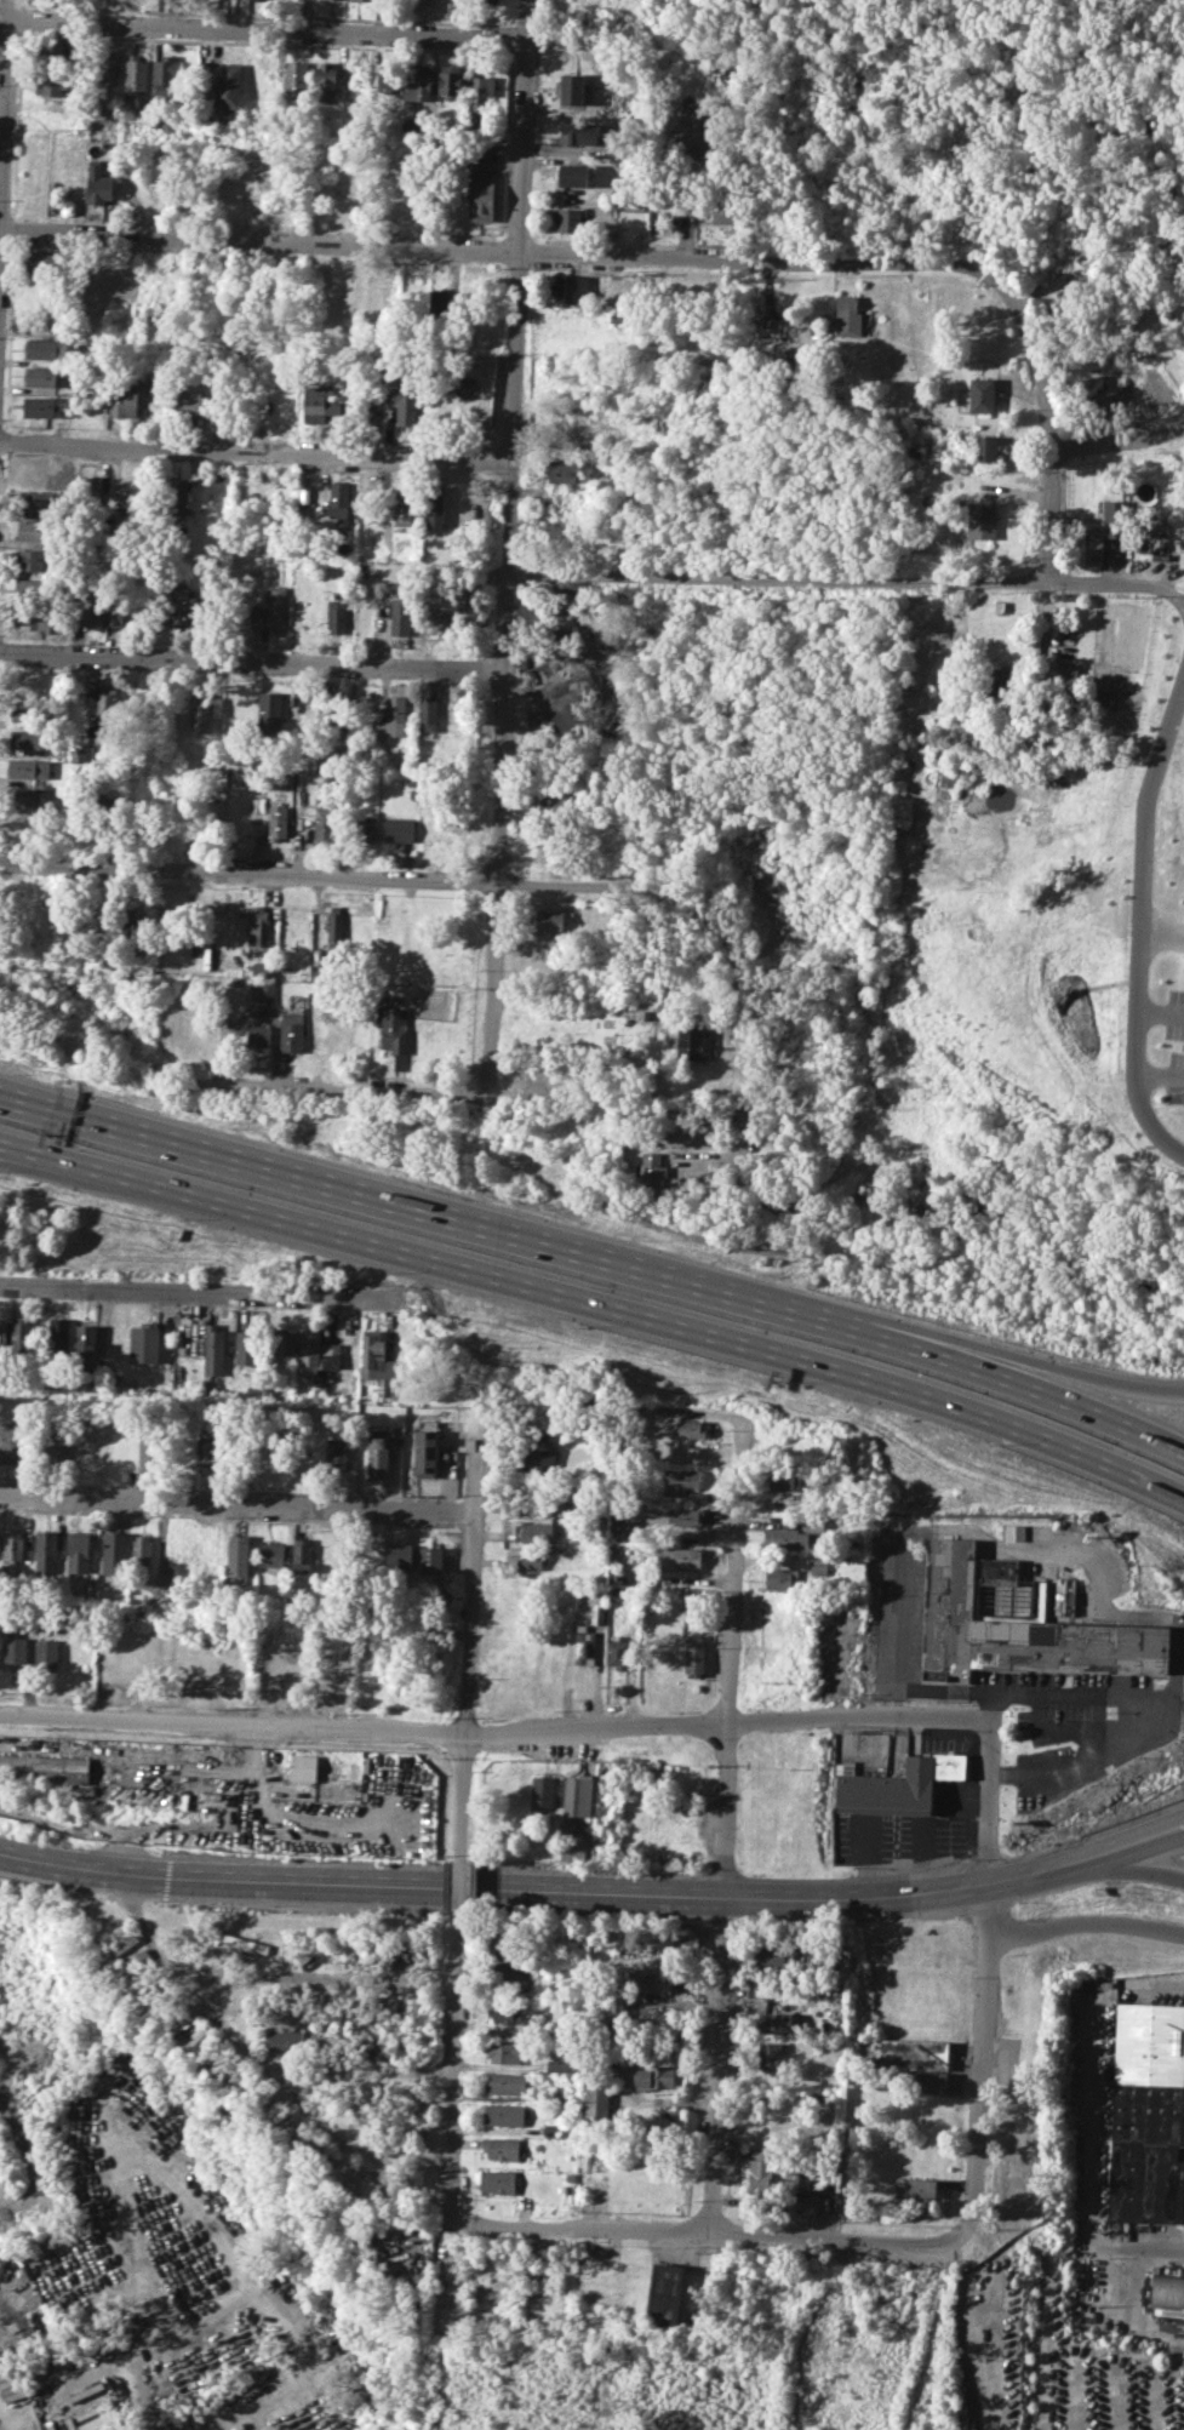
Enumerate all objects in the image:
building: (355, 0)
building: (424, 0)
building: (487, 0)
building: (259, 1)
building: (584, 13)
road: (263, 29)
building: (57, 56)
park: (1104, 68)
building: (108, 69)
building: (165, 74)
building: (135, 75)
building: (389, 76)
building: (257, 78)
road: (2, 79)
building: (296, 79)
building: (418, 80)
building: (450, 80)
building: (326, 81)
building: (47, 82)
building: (228, 85)
building: (576, 87)
building: (481, 91)
building: (51, 112)
building: (579, 132)
building: (336, 164)
building: (573, 175)
building: (101, 179)
building: (131, 181)
building: (482, 195)
building: (354, 196)
building: (722, 205)
building: (571, 219)
road: (488, 251)
building: (41, 261)
building: (121, 282)
building: (570, 287)
building: (381, 296)
building: (348, 299)
building: (441, 305)
building: (617, 314)
building: (848, 314)
building: (568, 325)
building: (47, 349)
building: (1155, 371)
building: (41, 376)
building: (1100, 389)
building: (983, 394)
building: (122, 395)
building: (281, 399)
building: (316, 401)
building: (187, 402)
building: (406, 405)
building: (44, 406)
road: (1047, 414)
road: (1117, 441)
building: (985, 447)
building: (914, 451)
road: (258, 454)
building: (561, 469)
building: (91, 492)
building: (176, 497)
building: (338, 499)
building: (39, 501)
building: (435, 504)
building: (402, 509)
building: (1114, 518)
building: (982, 520)
building: (38, 531)
road: (513, 548)
building: (36, 560)
road: (848, 579)
building: (38, 589)
building: (179, 606)
building: (85, 607)
building: (114, 607)
building: (271, 607)
building: (444, 614)
building: (338, 616)
building: (401, 616)
building: (35, 617)
road: (1049, 623)
road: (254, 665)
building: (1065, 675)
building: (1000, 676)
building: (108, 704)
building: (270, 708)
building: (204, 709)
building: (33, 711)
building: (428, 713)
building: (393, 719)
building: (337, 721)
building: (33, 738)
building: (82, 754)
building: (30, 768)
building: (23, 796)
building: (554, 805)
building: (276, 821)
building: (325, 821)
building: (22, 827)
building: (399, 829)
building: (445, 830)
building: (367, 831)
building: (553, 842)
road: (341, 879)
road: (1138, 910)
building: (553, 920)
building: (336, 924)
building: (259, 925)
building: (264, 968)
building: (263, 990)
road: (1160, 1010)
building: (393, 1029)
building: (293, 1030)
road: (742, 1031)
building: (258, 1035)
building: (691, 1042)
road: (276, 1046)
road: (1159, 1073)
building: (544, 1080)
road: (343, 1092)
road: (18, 1153)
road: (794, 1159)
building: (652, 1168)
road: (477, 1227)
road: (202, 1292)
road: (597, 1304)
building: (21, 1336)
building: (57, 1336)
building: (84, 1336)
building: (2, 1338)
building: (282, 1340)
building: (144, 1342)
building: (212, 1348)
building: (246, 1348)
building: (308, 1353)
building: (330, 1355)
building: (376, 1360)
road: (1070, 1368)
building: (254, 1391)
road: (1070, 1403)
building: (690, 1428)
building: (12, 1442)
building: (82, 1445)
building: (53, 1447)
building: (425, 1448)
building: (534, 1452)
building: (206, 1453)
building: (337, 1453)
building: (150, 1454)
building: (378, 1454)
building: (680, 1479)
building: (534, 1504)
road: (236, 1505)
building: (682, 1517)
building: (532, 1532)
building: (1017, 1532)
building: (791, 1534)
building: (47, 1544)
building: (12, 1545)
building: (79, 1551)
building: (114, 1553)
building: (195, 1553)
building: (142, 1554)
building: (303, 1554)
building: (239, 1555)
building: (273, 1555)
building: (399, 1555)
building: (683, 1557)
building: (429, 1560)
building: (533, 1560)
building: (819, 1566)
building: (783, 1578)
building: (90, 1588)
building: (171, 1593)
building: (597, 1613)
road: (897, 1620)
building: (1017, 1623)
road: (468, 1639)
building: (584, 1645)
building: (15, 1649)
building: (617, 1652)
building: (46, 1653)
building: (694, 1657)
building: (271, 1662)
building: (331, 1665)
road: (1109, 1697)
road: (990, 1708)
road: (1041, 1708)
road: (491, 1732)
road: (1074, 1732)
building: (44, 1767)
building: (302, 1767)
building: (888, 1789)
building: (542, 1791)
building: (577, 1795)
road: (726, 1826)
building: (572, 1852)
road: (1137, 1862)
road: (331, 1881)
road: (461, 1891)
road: (928, 1891)
road: (1086, 1923)
building: (683, 1936)
building: (246, 1943)
building: (118, 1948)
building: (776, 1954)
building: (137, 1957)
building: (406, 1959)
building: (509, 1974)
road: (254, 1978)
road: (985, 1979)
building: (141, 1996)
building: (756, 2001)
building: (504, 2013)
building: (776, 2022)
building: (286, 2041)
building: (503, 2052)
building: (903, 2053)
building: (770, 2056)
building: (560, 2063)
road: (362, 2069)
building: (650, 2076)
building: (505, 2082)
building: (936, 2083)
road: (303, 2098)
building: (413, 2098)
building: (596, 2102)
building: (1146, 2112)
building: (504, 2114)
road: (451, 2122)
building: (501, 2148)
building: (762, 2174)
building: (810, 2179)
building: (497, 2180)
building: (650, 2186)
building: (916, 2188)
road: (707, 2232)
road: (1134, 2246)
building: (482, 2255)
building: (481, 2274)
building: (1167, 2291)
building: (486, 2295)
building: (664, 2295)
road: (1129, 2306)
road: (184, 2316)
building: (486, 2316)
building: (22, 2329)
road: (138, 2386)
building: (99, 2422)

